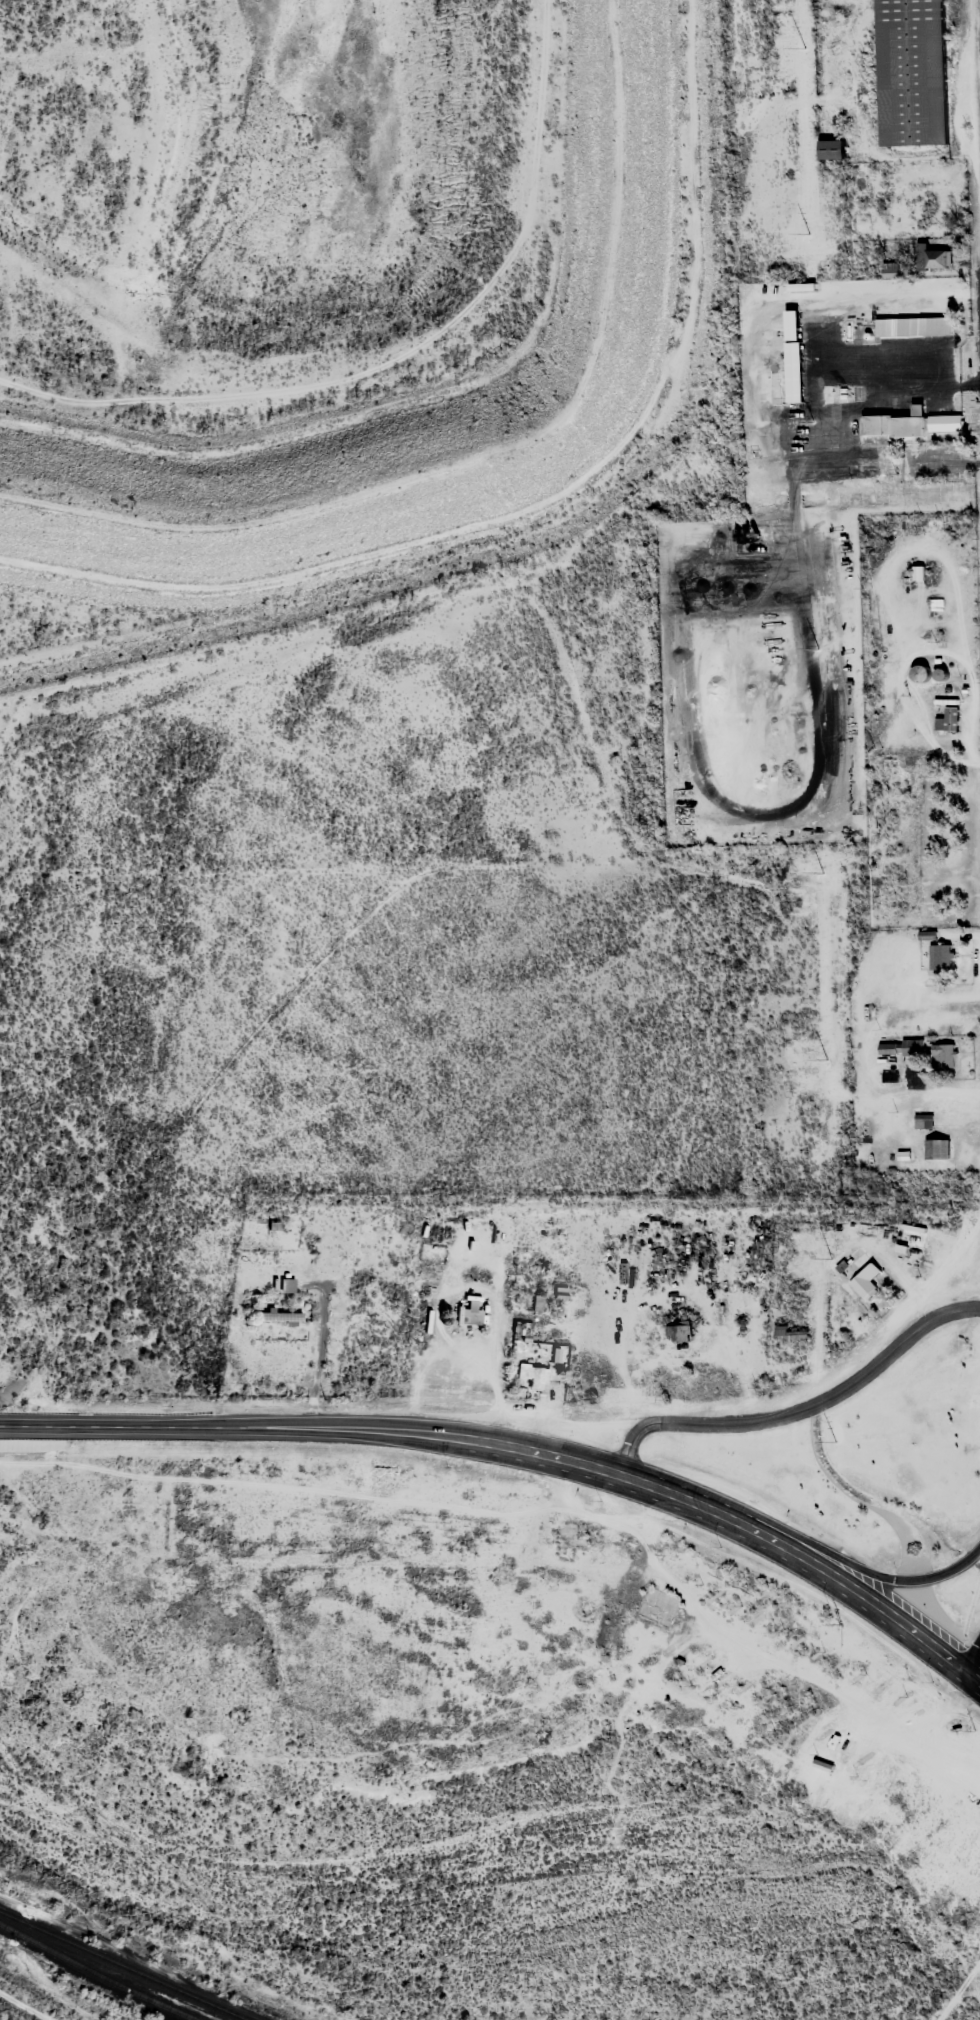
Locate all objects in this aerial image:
building: (912, 71)
building: (830, 149)
building: (932, 258)
building: (910, 325)
building: (789, 356)
building: (909, 424)
building: (918, 573)
building: (919, 674)
building: (947, 720)
building: (940, 957)
building: (911, 1047)
building: (943, 1056)
building: (923, 1121)
building: (936, 1148)
building: (909, 1250)
building: (865, 1281)
building: (286, 1285)
building: (471, 1312)
building: (279, 1316)
building: (677, 1331)
building: (782, 1333)
building: (534, 1377)
road: (798, 1410)
road: (356, 1428)
road: (842, 1559)
road: (838, 1577)
road: (971, 1654)
road: (968, 1673)
road: (977, 1679)
road: (831, 1693)
railway: (121, 1966)
railway: (98, 1974)

